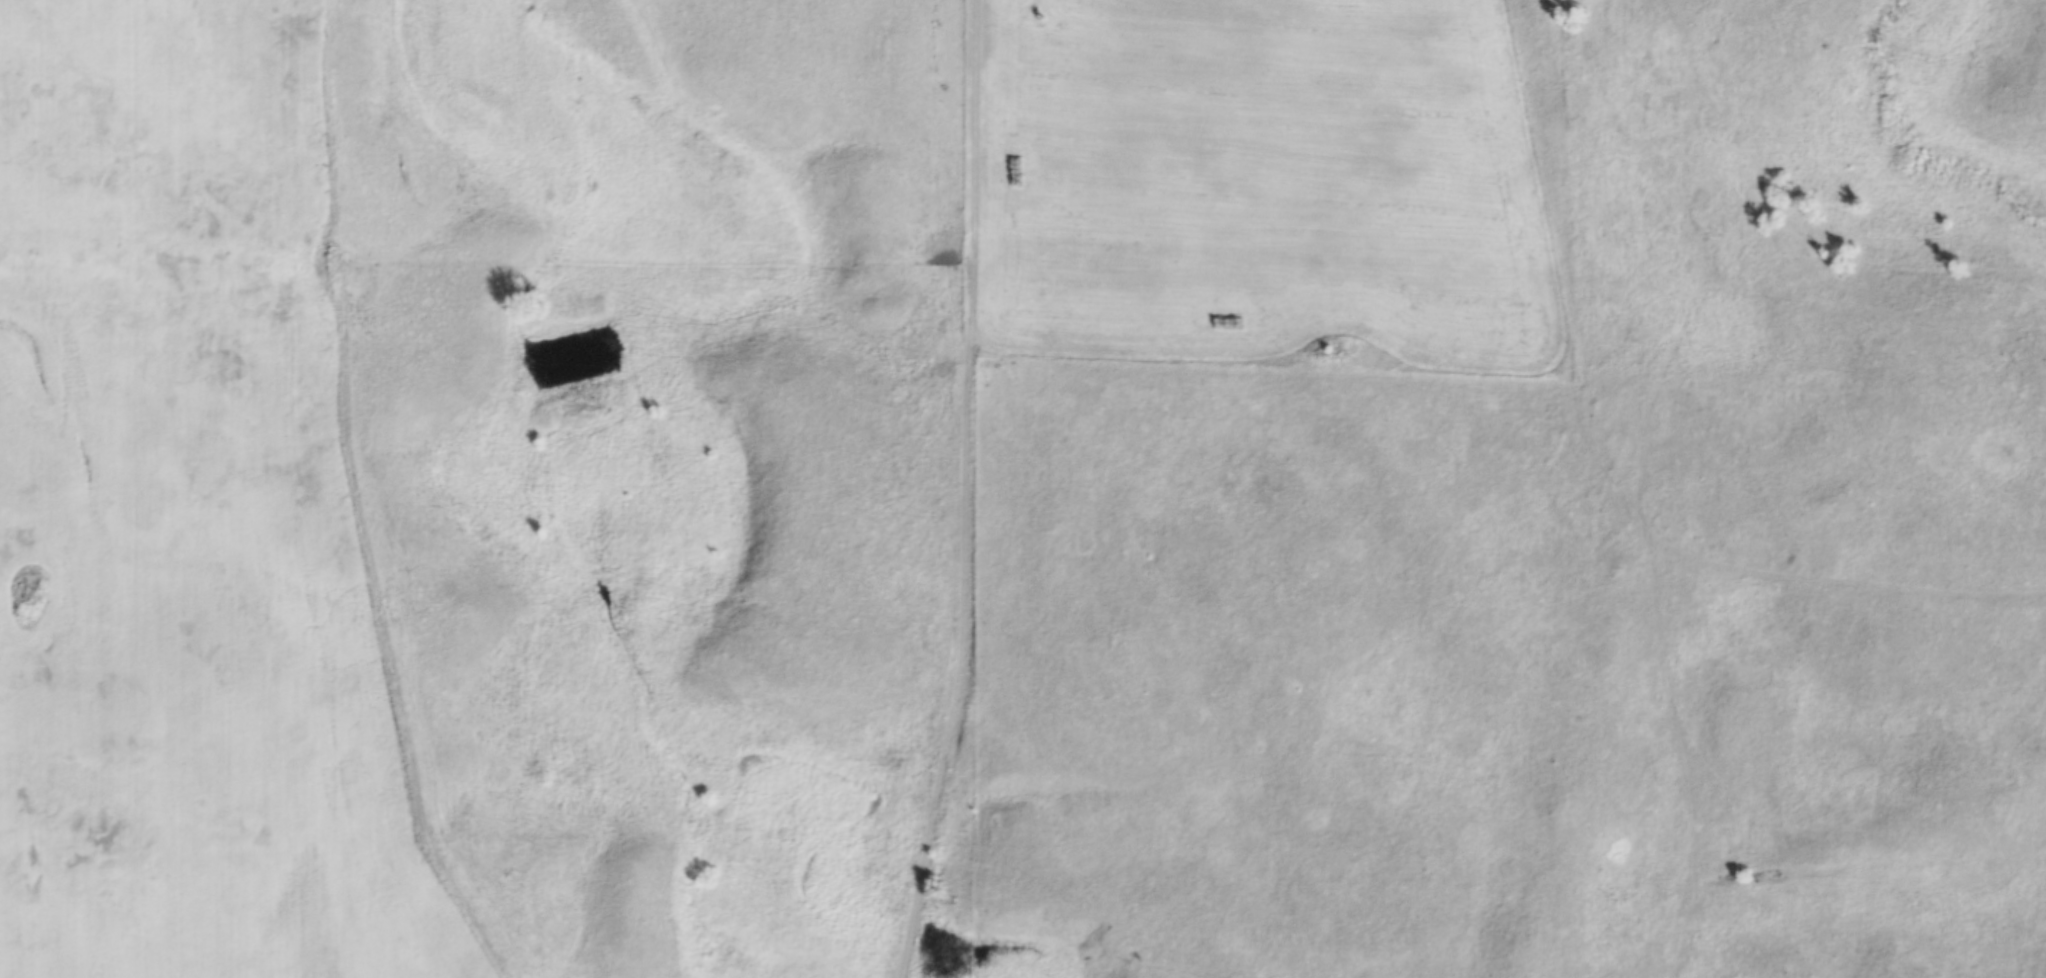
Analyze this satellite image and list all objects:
road: (973, 491)

